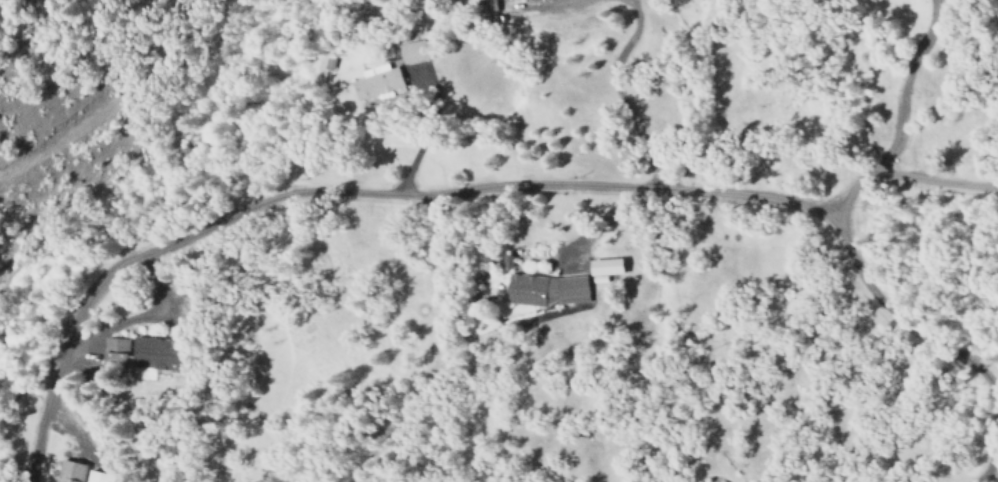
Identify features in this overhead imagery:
building: (410, 52)
building: (415, 70)
building: (373, 81)
road: (898, 121)
road: (522, 190)
building: (603, 267)
building: (542, 289)
building: (137, 354)
building: (68, 471)
building: (94, 476)

